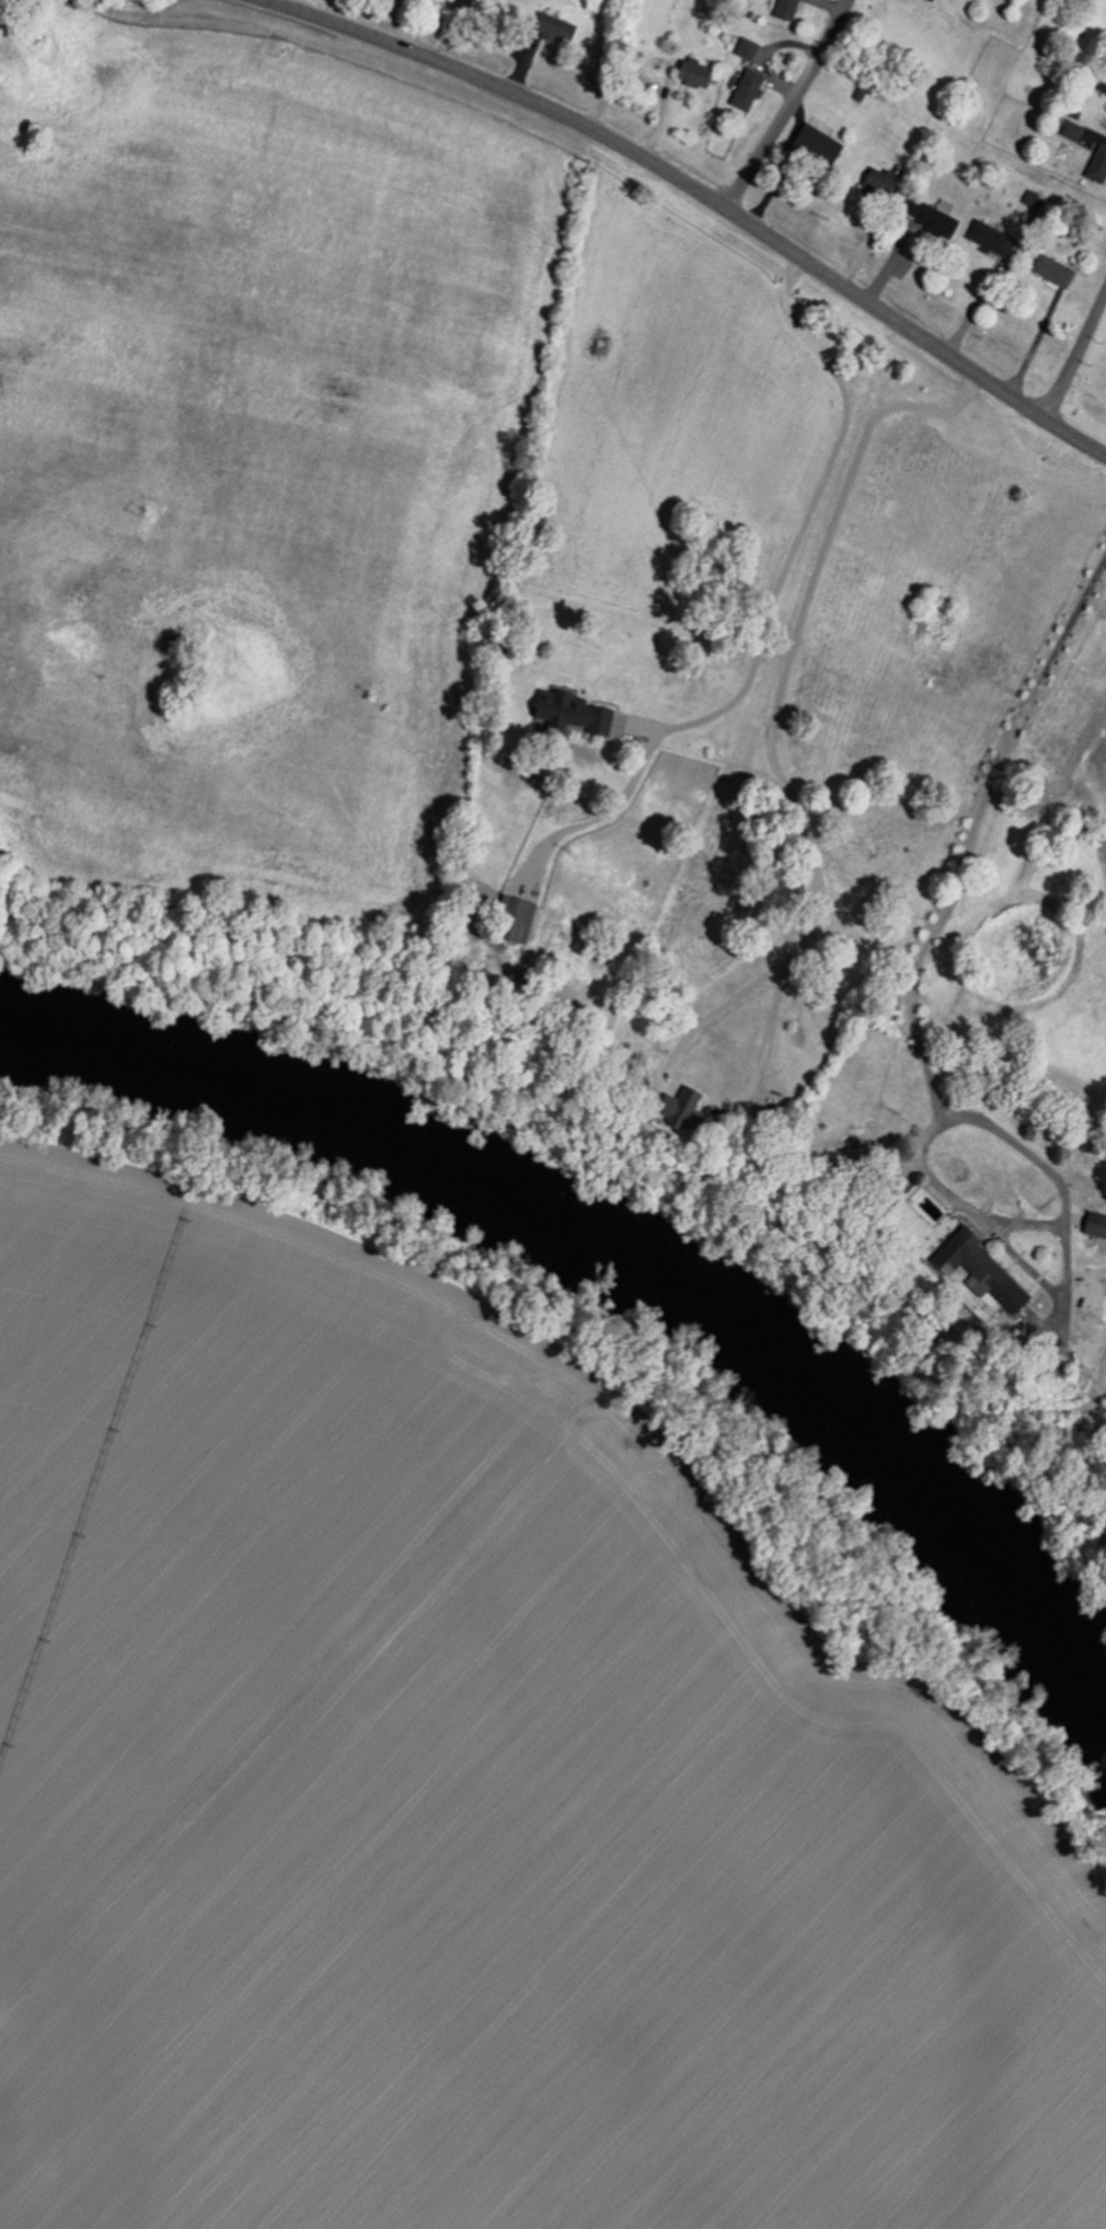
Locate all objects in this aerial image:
building: (930, 0)
building: (784, 9)
building: (550, 26)
building: (745, 48)
building: (633, 57)
building: (691, 73)
building: (1102, 86)
building: (745, 89)
road: (791, 105)
building: (1071, 130)
building: (816, 142)
building: (1097, 165)
road: (701, 193)
building: (928, 217)
building: (988, 238)
building: (1051, 270)
road: (1074, 354)
road: (767, 612)
road: (773, 716)
building: (511, 919)
road: (933, 931)
road: (712, 1012)
building: (672, 1107)
building: (1094, 1224)
river: (621, 1266)

